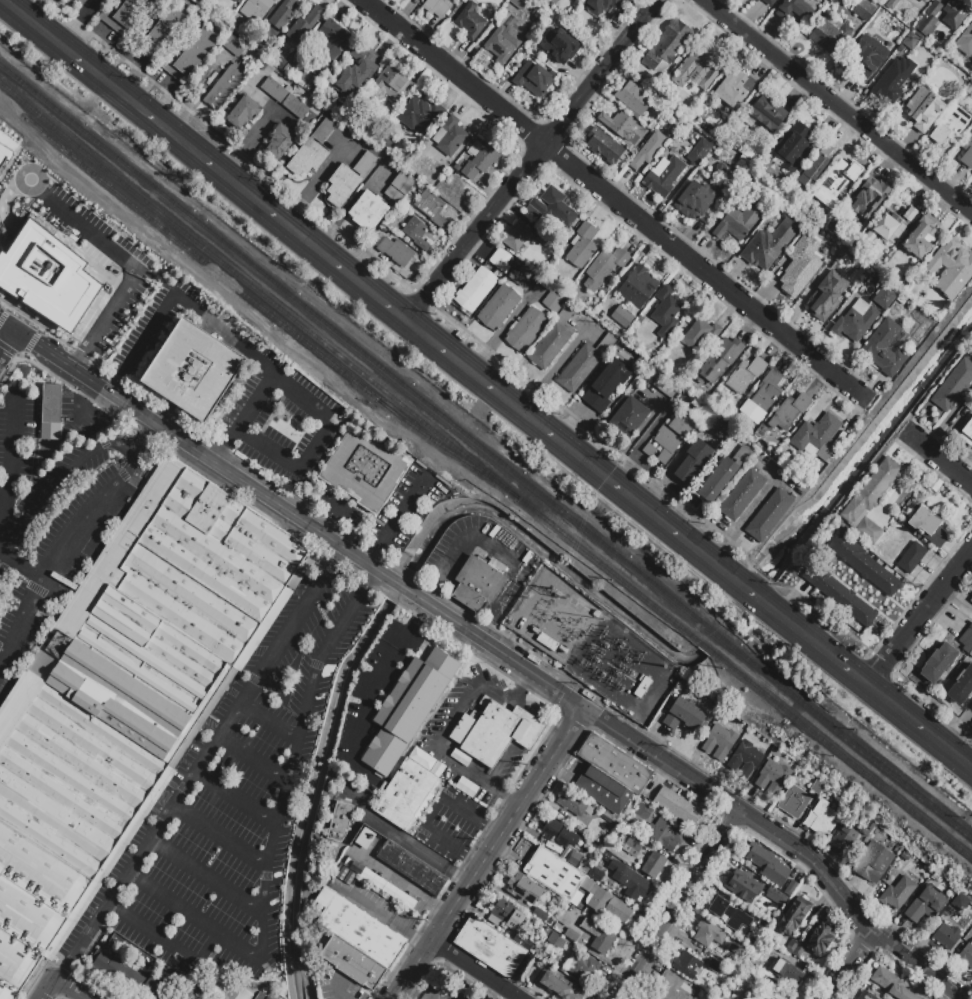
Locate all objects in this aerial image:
building: (417, 0)
building: (754, 0)
building: (93, 1)
building: (201, 1)
building: (236, 1)
building: (554, 1)
building: (81, 2)
building: (765, 2)
building: (922, 2)
building: (518, 3)
building: (600, 5)
building: (440, 7)
building: (256, 10)
building: (796, 10)
building: (864, 10)
building: (957, 12)
building: (283, 14)
building: (124, 15)
building: (929, 19)
building: (470, 21)
road: (80, 22)
building: (304, 25)
building: (163, 32)
building: (830, 34)
building: (863, 36)
building: (896, 40)
building: (910, 40)
building: (965, 41)
building: (501, 44)
building: (668, 44)
building: (560, 45)
building: (235, 46)
building: (330, 48)
building: (531, 51)
building: (953, 55)
building: (191, 56)
building: (866, 61)
building: (697, 69)
building: (355, 74)
building: (534, 80)
building: (933, 80)
building: (892, 81)
building: (393, 84)
building: (226, 86)
building: (275, 90)
building: (734, 90)
building: (969, 90)
road: (196, 97)
building: (634, 98)
road: (838, 106)
building: (295, 108)
building: (924, 109)
building: (244, 112)
building: (419, 114)
building: (767, 115)
building: (618, 125)
building: (950, 126)
building: (449, 137)
building: (669, 138)
building: (280, 141)
building: (386, 143)
road: (230, 145)
building: (411, 145)
building: (605, 146)
building: (794, 146)
building: (312, 150)
building: (648, 150)
building: (698, 152)
building: (967, 152)
building: (5, 156)
road: (204, 160)
building: (480, 160)
road: (532, 160)
building: (815, 165)
building: (457, 168)
building: (440, 169)
building: (664, 176)
building: (348, 179)
building: (837, 182)
building: (400, 186)
building: (728, 191)
road: (614, 199)
building: (695, 199)
building: (868, 199)
building: (431, 208)
building: (552, 208)
building: (369, 211)
building: (737, 223)
building: (890, 225)
building: (416, 233)
building: (812, 234)
building: (518, 237)
building: (855, 239)
building: (542, 240)
road: (98, 241)
building: (920, 241)
building: (769, 245)
building: (581, 247)
building: (853, 248)
building: (395, 250)
building: (840, 257)
building: (500, 260)
building: (820, 263)
parking lot: (125, 266)
building: (603, 268)
building: (951, 269)
building: (520, 275)
building: (47, 276)
building: (793, 276)
building: (638, 286)
building: (476, 290)
road: (177, 297)
road: (422, 297)
building: (827, 299)
building: (553, 300)
building: (498, 308)
railway: (269, 312)
building: (665, 312)
building: (863, 314)
building: (621, 317)
road: (9, 327)
building: (526, 329)
building: (700, 334)
building: (553, 338)
road: (8, 345)
railway: (356, 346)
building: (885, 348)
building: (719, 361)
railway: (350, 363)
building: (584, 364)
road: (555, 367)
building: (193, 372)
building: (745, 375)
building: (606, 385)
building: (953, 385)
building: (665, 387)
building: (763, 397)
building: (681, 398)
building: (52, 404)
road: (316, 405)
building: (790, 410)
building: (630, 417)
building: (54, 427)
building: (674, 433)
building: (967, 434)
road: (599, 437)
building: (817, 437)
road: (149, 440)
building: (844, 444)
road: (574, 453)
road: (938, 455)
road: (206, 458)
building: (693, 462)
road: (9, 465)
building: (364, 472)
building: (723, 475)
road: (60, 477)
road: (124, 478)
road: (902, 483)
building: (743, 494)
building: (870, 501)
building: (769, 515)
road: (398, 523)
parking lot: (51, 526)
building: (928, 527)
building: (911, 558)
building: (863, 564)
road: (20, 569)
road: (45, 572)
road: (765, 578)
building: (479, 582)
road: (401, 587)
road: (752, 593)
building: (839, 594)
road: (957, 599)
building: (971, 599)
building: (596, 614)
road: (822, 614)
road: (919, 617)
road: (292, 624)
railway: (717, 634)
building: (967, 639)
building: (547, 642)
road: (814, 642)
power substation: (589, 643)
railway: (707, 647)
road: (496, 649)
building: (970, 654)
road: (876, 658)
road: (388, 661)
building: (939, 663)
road: (887, 666)
building: (641, 678)
building: (962, 686)
building: (642, 687)
road: (932, 700)
building: (125, 701)
building: (485, 701)
building: (409, 707)
building: (684, 715)
road: (268, 719)
road: (919, 726)
road: (451, 729)
road: (958, 729)
building: (501, 733)
railway: (847, 737)
building: (719, 741)
road: (640, 744)
railway: (842, 754)
road: (290, 756)
building: (744, 759)
road: (250, 760)
building: (433, 764)
building: (610, 775)
building: (452, 776)
building: (773, 777)
building: (470, 788)
road: (723, 788)
building: (817, 788)
building: (408, 796)
road: (236, 797)
building: (488, 800)
road: (716, 802)
building: (794, 802)
building: (575, 804)
building: (675, 806)
parking lot: (233, 807)
road: (435, 812)
building: (823, 819)
building: (340, 822)
building: (559, 833)
building: (665, 835)
road: (219, 837)
building: (850, 837)
building: (365, 838)
road: (149, 841)
building: (632, 844)
road: (489, 852)
building: (605, 857)
building: (574, 858)
building: (872, 863)
building: (767, 864)
building: (655, 866)
building: (412, 868)
building: (596, 874)
building: (555, 875)
building: (345, 876)
road: (206, 877)
building: (629, 881)
building: (381, 884)
building: (743, 887)
building: (791, 889)
building: (526, 890)
building: (897, 893)
building: (777, 895)
road: (679, 902)
building: (960, 902)
building: (606, 903)
building: (926, 906)
road: (850, 907)
building: (540, 914)
building: (729, 914)
building: (505, 915)
road: (384, 916)
building: (794, 916)
road: (193, 920)
building: (709, 933)
building: (571, 935)
building: (946, 936)
building: (598, 937)
building: (778, 937)
building: (820, 940)
building: (523, 941)
building: (358, 942)
building: (556, 942)
road: (167, 944)
building: (491, 946)
building: (737, 947)
building: (769, 948)
building: (795, 948)
building: (966, 954)
road: (844, 964)
building: (688, 965)
building: (581, 967)
building: (716, 967)
road: (476, 969)
building: (787, 972)
building: (133, 978)
building: (885, 978)
building: (558, 985)
building: (674, 987)
building: (742, 987)
road: (46, 988)
road: (68, 988)
building: (194, 991)
building: (238, 991)
building: (779, 992)
building: (901, 993)
building: (260, 995)
road: (340, 995)
building: (867, 996)
building: (268, 998)

